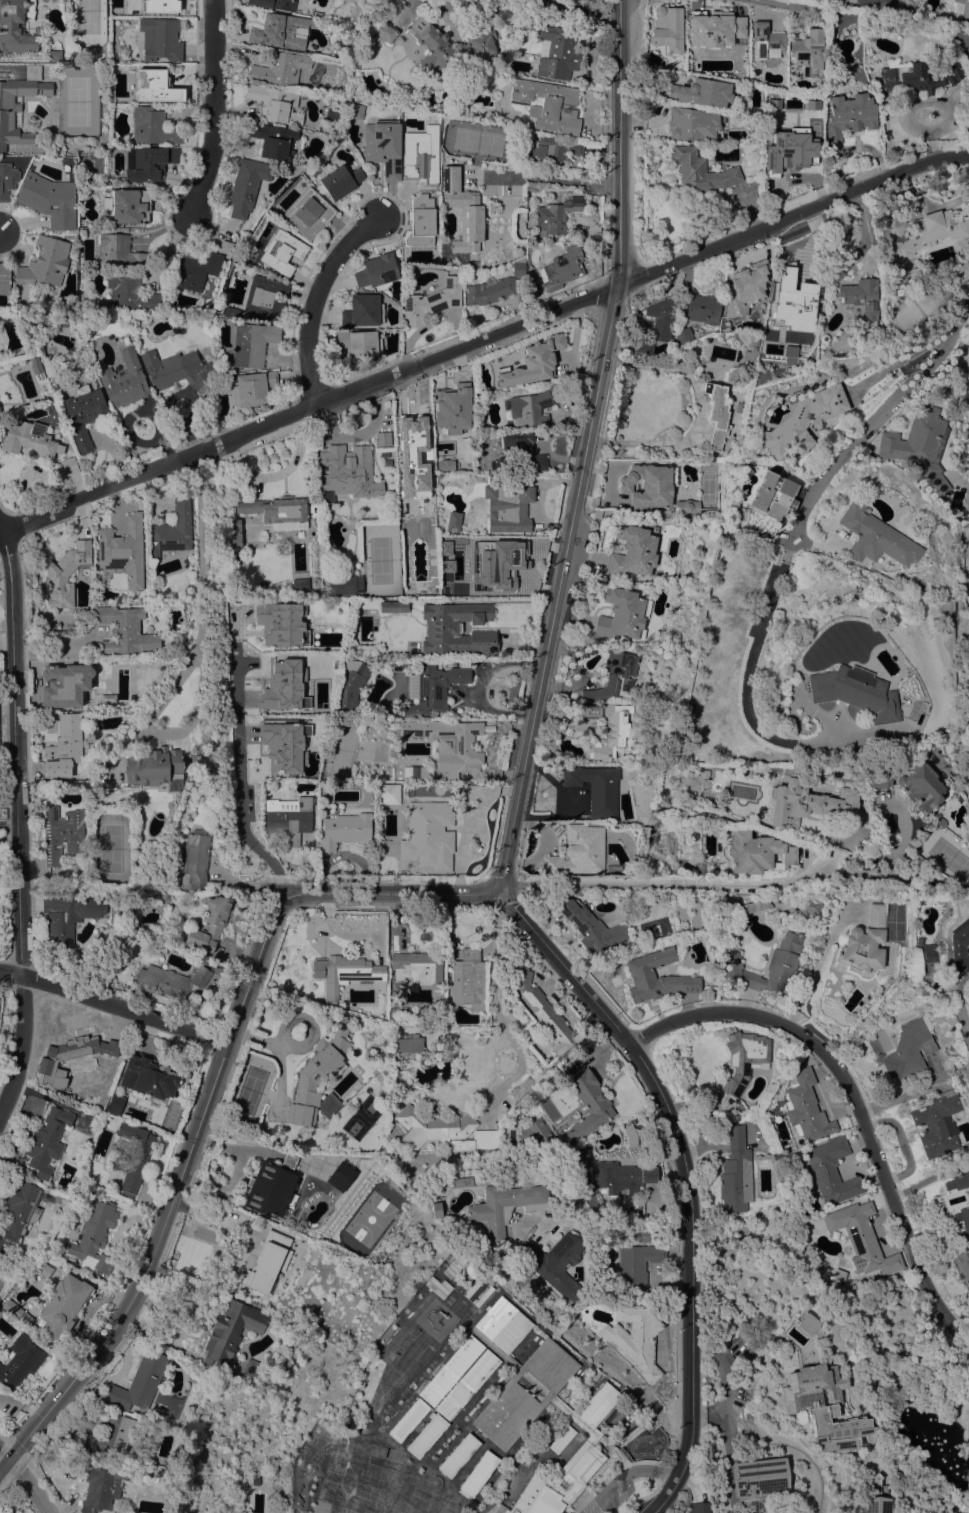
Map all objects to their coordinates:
road: (779, 3)
building: (874, 3)
building: (274, 4)
building: (386, 4)
building: (162, 5)
building: (66, 6)
building: (960, 9)
building: (401, 14)
building: (847, 16)
building: (16, 26)
building: (377, 27)
building: (667, 30)
building: (281, 31)
building: (704, 33)
building: (160, 39)
building: (766, 41)
building: (450, 46)
building: (555, 51)
building: (808, 52)
building: (54, 55)
building: (280, 68)
building: (953, 71)
building: (904, 77)
building: (155, 86)
building: (702, 92)
building: (390, 98)
building: (120, 101)
building: (275, 104)
building: (19, 105)
building: (548, 105)
road: (211, 108)
building: (356, 111)
building: (849, 115)
building: (691, 124)
building: (968, 127)
building: (154, 128)
building: (794, 139)
building: (273, 140)
road: (618, 143)
building: (383, 147)
building: (554, 150)
building: (422, 156)
building: (148, 163)
building: (701, 172)
road: (550, 178)
building: (7, 180)
building: (339, 180)
building: (246, 185)
building: (579, 187)
building: (49, 200)
building: (127, 205)
building: (462, 210)
building: (308, 213)
building: (557, 214)
building: (420, 221)
building: (922, 233)
building: (118, 252)
building: (283, 252)
building: (45, 262)
building: (565, 265)
building: (198, 268)
building: (376, 271)
building: (835, 272)
building: (5, 279)
building: (498, 286)
building: (745, 289)
building: (129, 293)
building: (265, 298)
road: (313, 298)
building: (862, 300)
building: (430, 301)
building: (797, 301)
building: (701, 307)
building: (231, 311)
building: (362, 311)
building: (662, 317)
building: (683, 336)
road: (484, 337)
building: (252, 343)
building: (360, 345)
building: (640, 347)
building: (532, 361)
building: (35, 365)
building: (176, 370)
building: (123, 381)
building: (253, 388)
building: (533, 407)
building: (452, 409)
building: (84, 415)
building: (717, 415)
building: (802, 422)
building: (381, 438)
building: (29, 439)
building: (409, 446)
building: (920, 446)
building: (519, 452)
building: (386, 454)
building: (388, 462)
building: (69, 465)
building: (443, 465)
building: (347, 472)
building: (649, 485)
building: (773, 496)
building: (508, 502)
building: (688, 506)
building: (277, 511)
building: (453, 521)
road: (798, 523)
building: (171, 530)
building: (234, 533)
building: (875, 537)
building: (123, 551)
building: (633, 552)
building: (490, 560)
road: (514, 560)
building: (66, 573)
building: (300, 584)
building: (345, 584)
road: (564, 588)
road: (202, 601)
building: (394, 606)
building: (623, 615)
building: (280, 623)
building: (457, 629)
building: (125, 631)
building: (614, 677)
building: (65, 685)
building: (284, 686)
building: (352, 686)
building: (432, 688)
building: (853, 692)
road: (8, 702)
building: (608, 728)
building: (908, 743)
building: (450, 744)
building: (64, 745)
building: (284, 745)
building: (152, 766)
building: (412, 773)
building: (876, 776)
building: (691, 780)
building: (916, 787)
building: (596, 788)
road: (240, 789)
building: (389, 794)
building: (807, 803)
building: (289, 818)
road: (10, 819)
road: (21, 824)
building: (938, 826)
building: (345, 831)
building: (61, 833)
building: (428, 834)
building: (965, 834)
building: (578, 852)
building: (756, 853)
building: (196, 858)
road: (684, 885)
building: (804, 903)
building: (754, 906)
building: (67, 918)
building: (210, 924)
building: (591, 927)
building: (862, 943)
building: (957, 943)
building: (924, 953)
building: (767, 964)
building: (417, 967)
building: (344, 972)
building: (640, 972)
building: (468, 979)
building: (176, 980)
road: (494, 1002)
road: (113, 1004)
road: (953, 1005)
building: (546, 1013)
building: (409, 1044)
building: (907, 1050)
road: (967, 1050)
building: (71, 1057)
building: (743, 1064)
building: (318, 1078)
building: (146, 1079)
road: (897, 1098)
road: (205, 1101)
building: (114, 1102)
building: (130, 1105)
building: (588, 1106)
building: (806, 1108)
road: (852, 1111)
building: (98, 1114)
building: (938, 1123)
building: (432, 1125)
building: (535, 1133)
building: (631, 1136)
building: (47, 1141)
building: (476, 1141)
building: (400, 1149)
road: (251, 1150)
road: (684, 1154)
building: (140, 1158)
building: (831, 1171)
road: (234, 1173)
building: (736, 1173)
building: (341, 1176)
building: (622, 1178)
building: (957, 1182)
building: (272, 1187)
building: (56, 1199)
building: (19, 1209)
building: (505, 1209)
building: (435, 1210)
building: (962, 1218)
road: (607, 1226)
building: (95, 1235)
building: (862, 1239)
building: (4, 1258)
building: (19, 1261)
building: (964, 1262)
building: (555, 1263)
building: (634, 1266)
building: (470, 1270)
building: (264, 1274)
building: (62, 1304)
building: (12, 1309)
building: (807, 1323)
building: (500, 1327)
building: (231, 1332)
building: (635, 1337)
building: (20, 1362)
building: (511, 1362)
building: (251, 1370)
building: (451, 1370)
building: (139, 1382)
building: (466, 1385)
building: (524, 1394)
building: (561, 1407)
building: (595, 1407)
building: (823, 1407)
building: (408, 1420)
building: (112, 1436)
building: (427, 1436)
building: (592, 1436)
building: (561, 1439)
road: (727, 1450)
building: (458, 1455)
building: (156, 1468)
building: (478, 1474)
building: (580, 1476)
road: (624, 1477)
building: (758, 1481)
road: (21, 1482)
building: (102, 1486)
road: (664, 1496)
building: (876, 1497)
building: (697, 1507)
building: (843, 1511)

